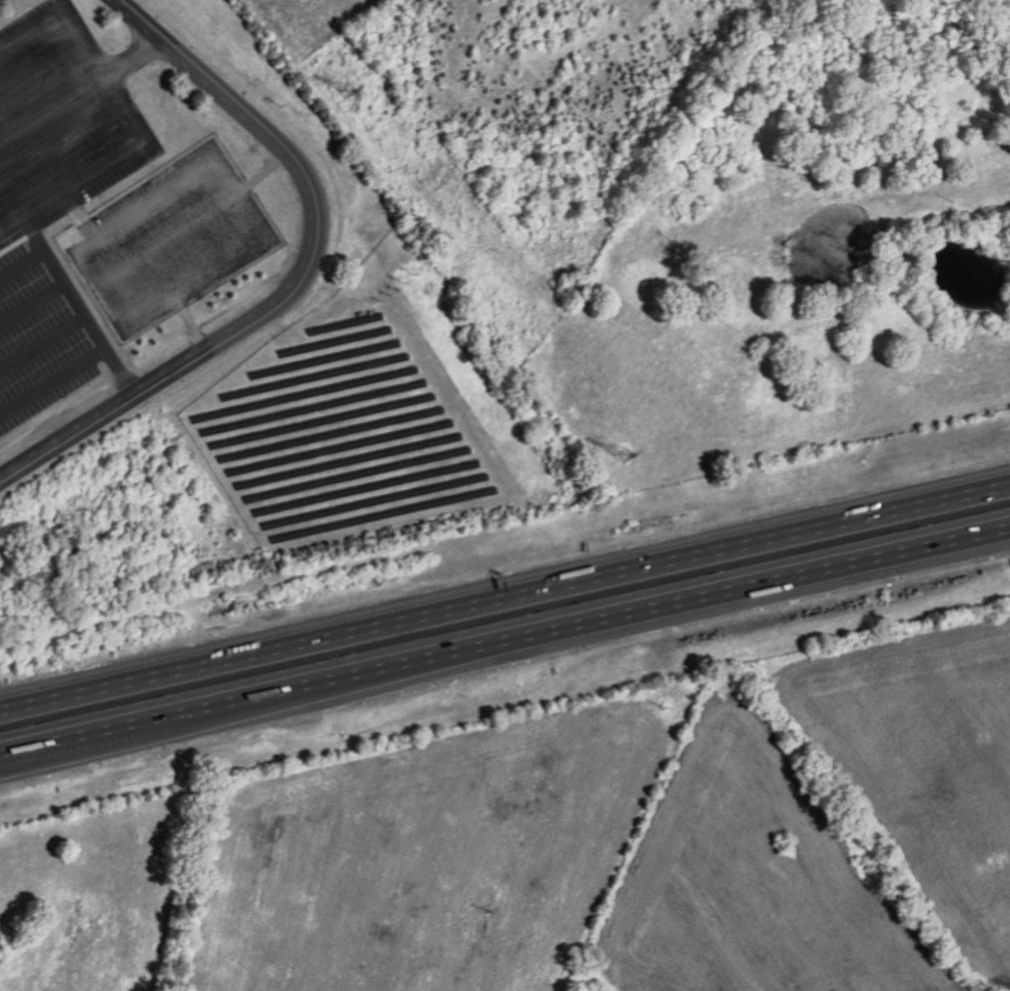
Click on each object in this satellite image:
road: (43, 72)
road: (81, 87)
road: (131, 116)
road: (62, 144)
parking lot: (112, 177)
road: (144, 207)
road: (54, 217)
road: (303, 279)
road: (100, 297)
road: (504, 588)
road: (505, 651)

